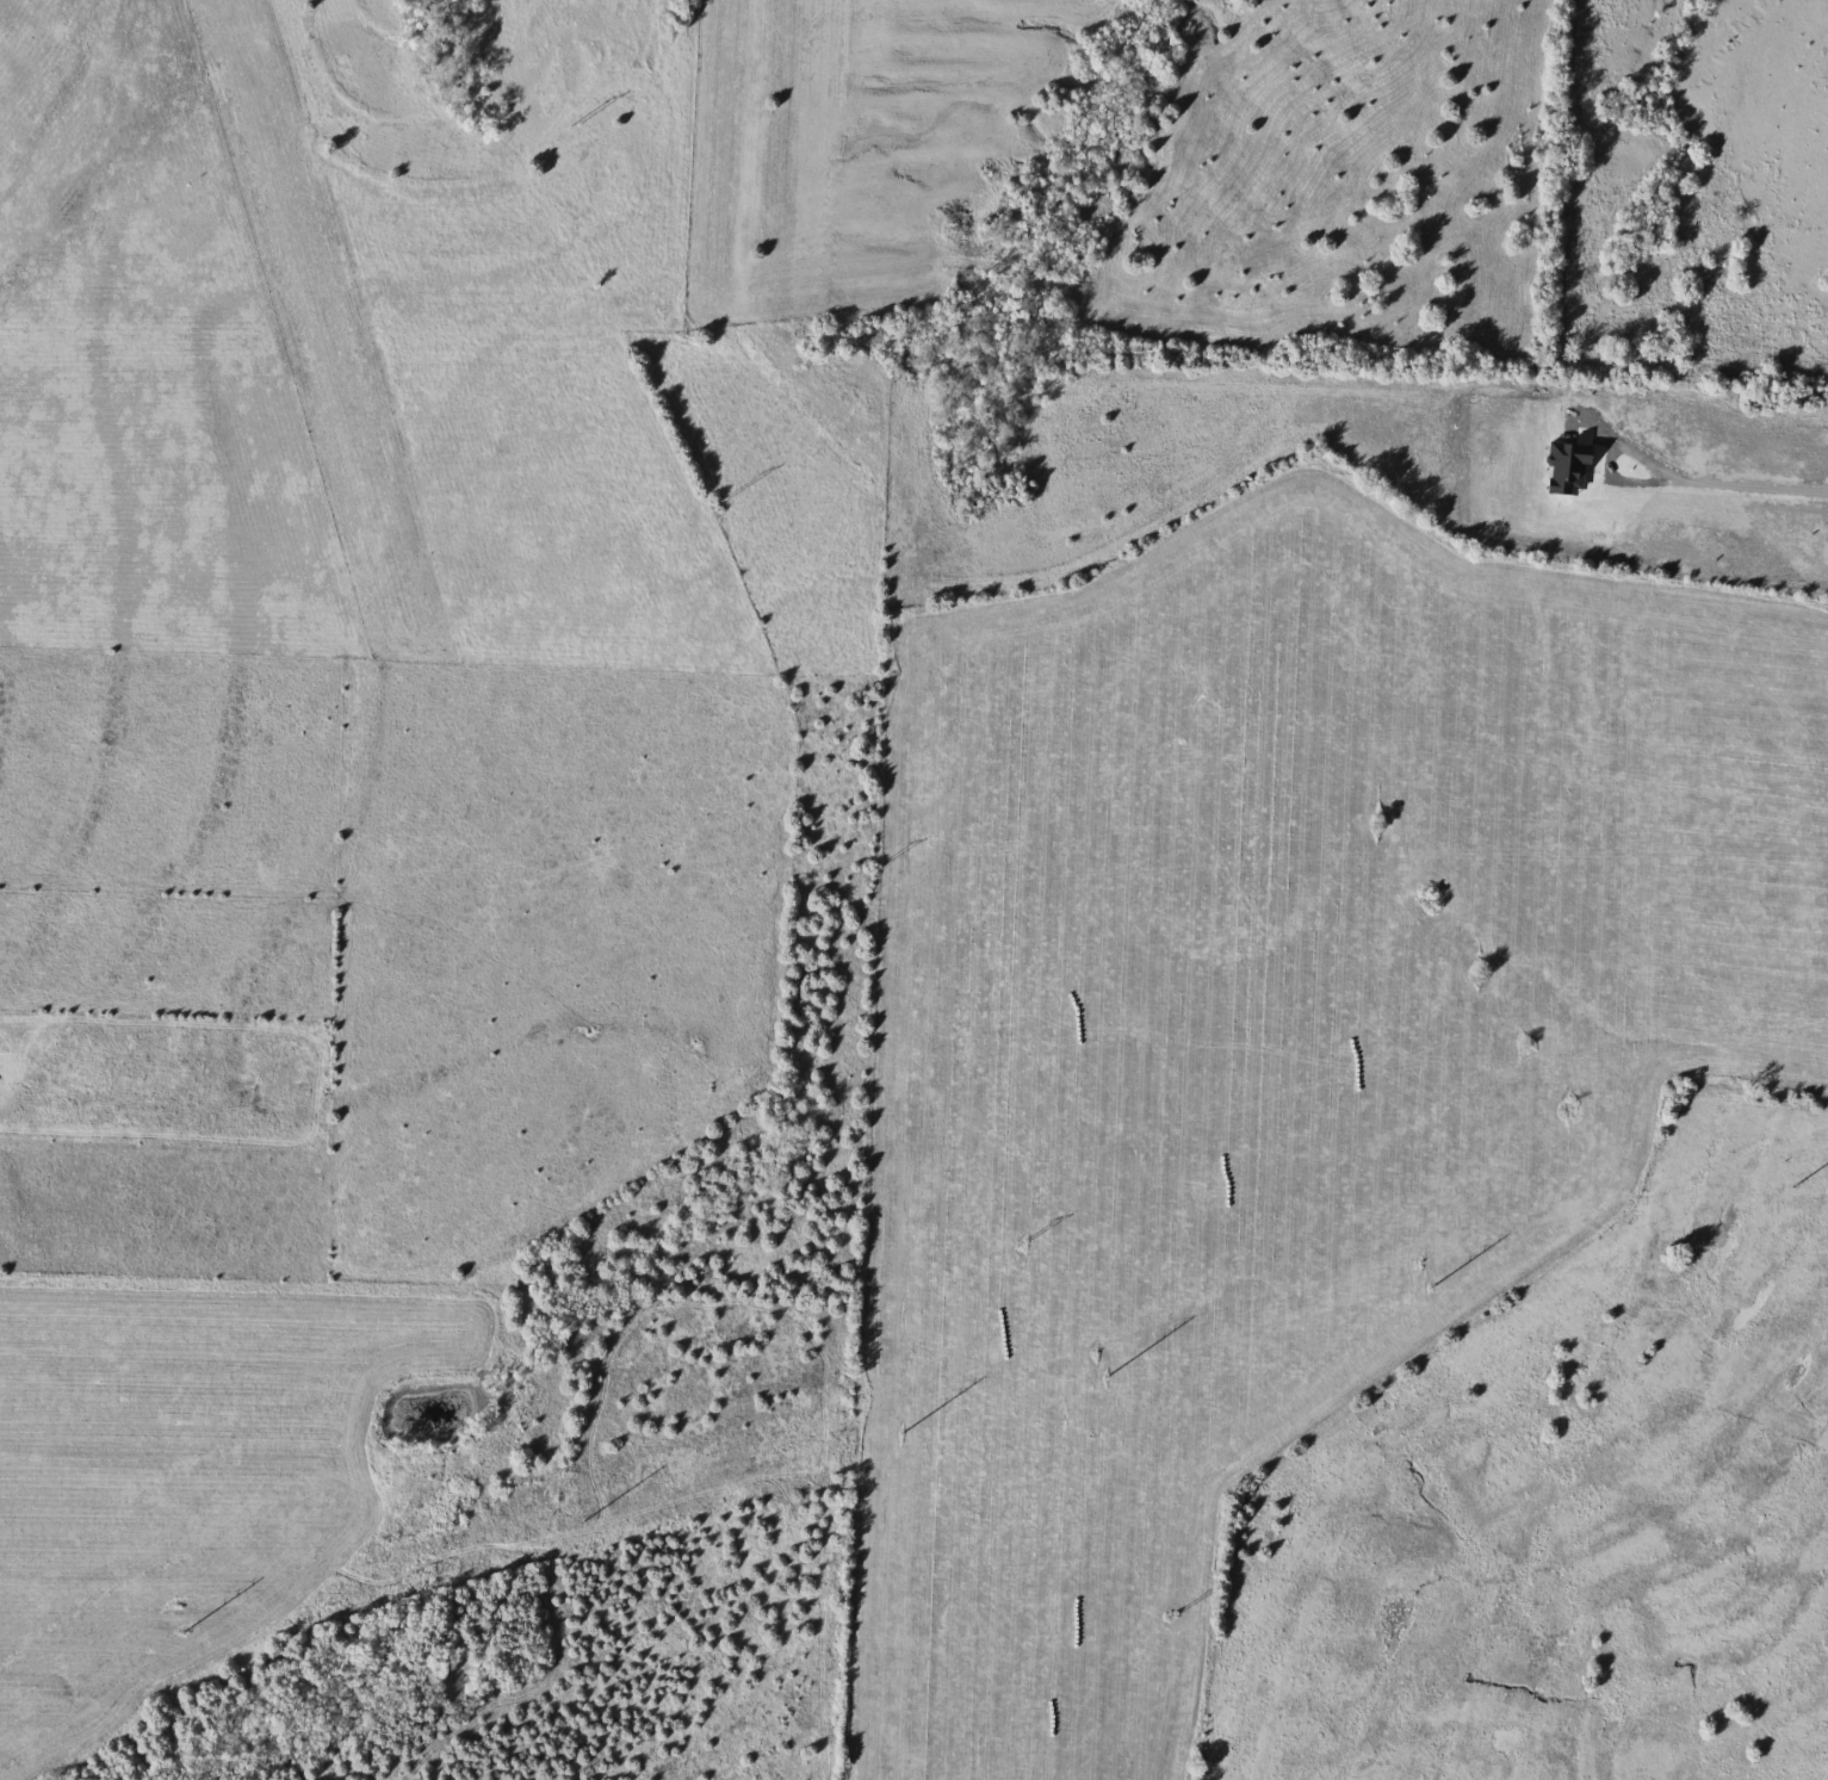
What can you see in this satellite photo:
road: (1721, 476)
power tower: (1783, 1170)
power tower: (1408, 1272)
power tower: (1068, 1362)
power tower: (621, 1495)
power tower: (178, 1613)

